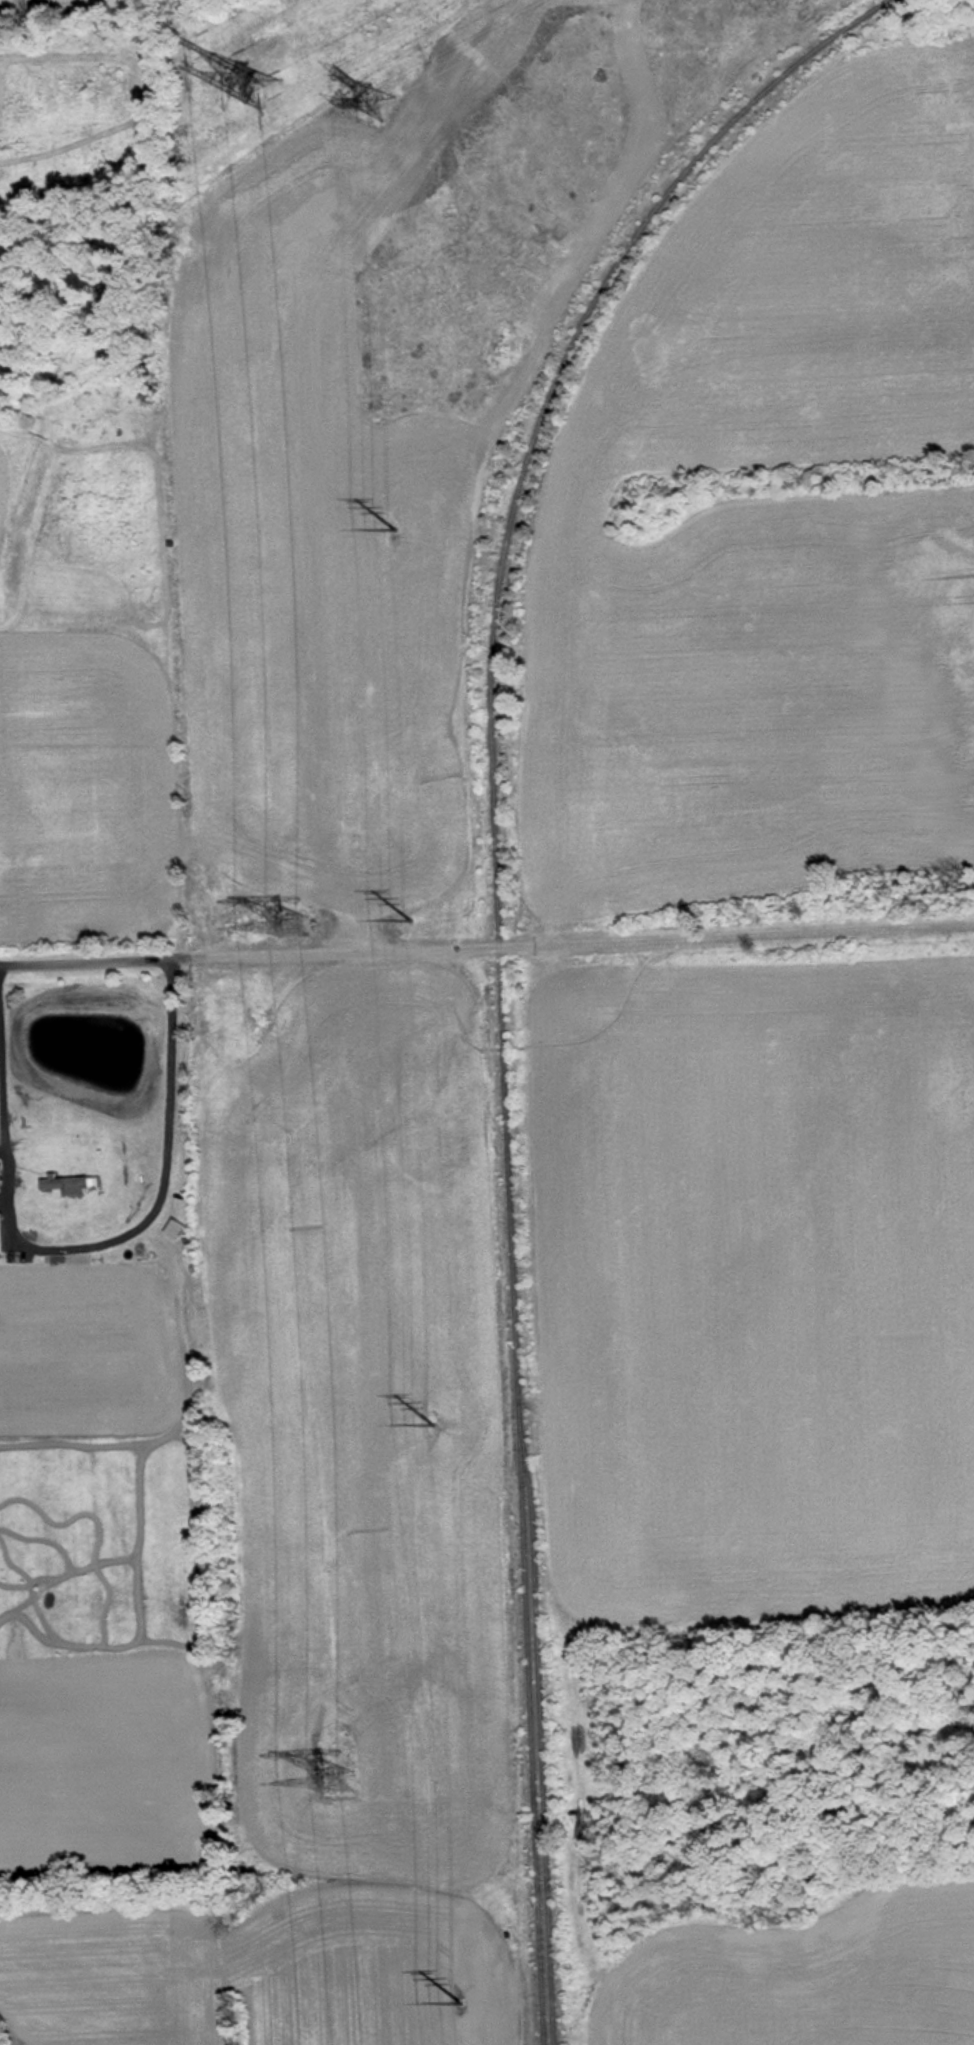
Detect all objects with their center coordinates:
power tower: (256, 76)
power tower: (373, 104)
power tower: (395, 532)
power tower: (411, 921)
power tower: (296, 930)
road: (486, 944)
railway: (491, 954)
building: (62, 1185)
power tower: (436, 1424)
power tower: (339, 1783)
power tower: (461, 2000)

